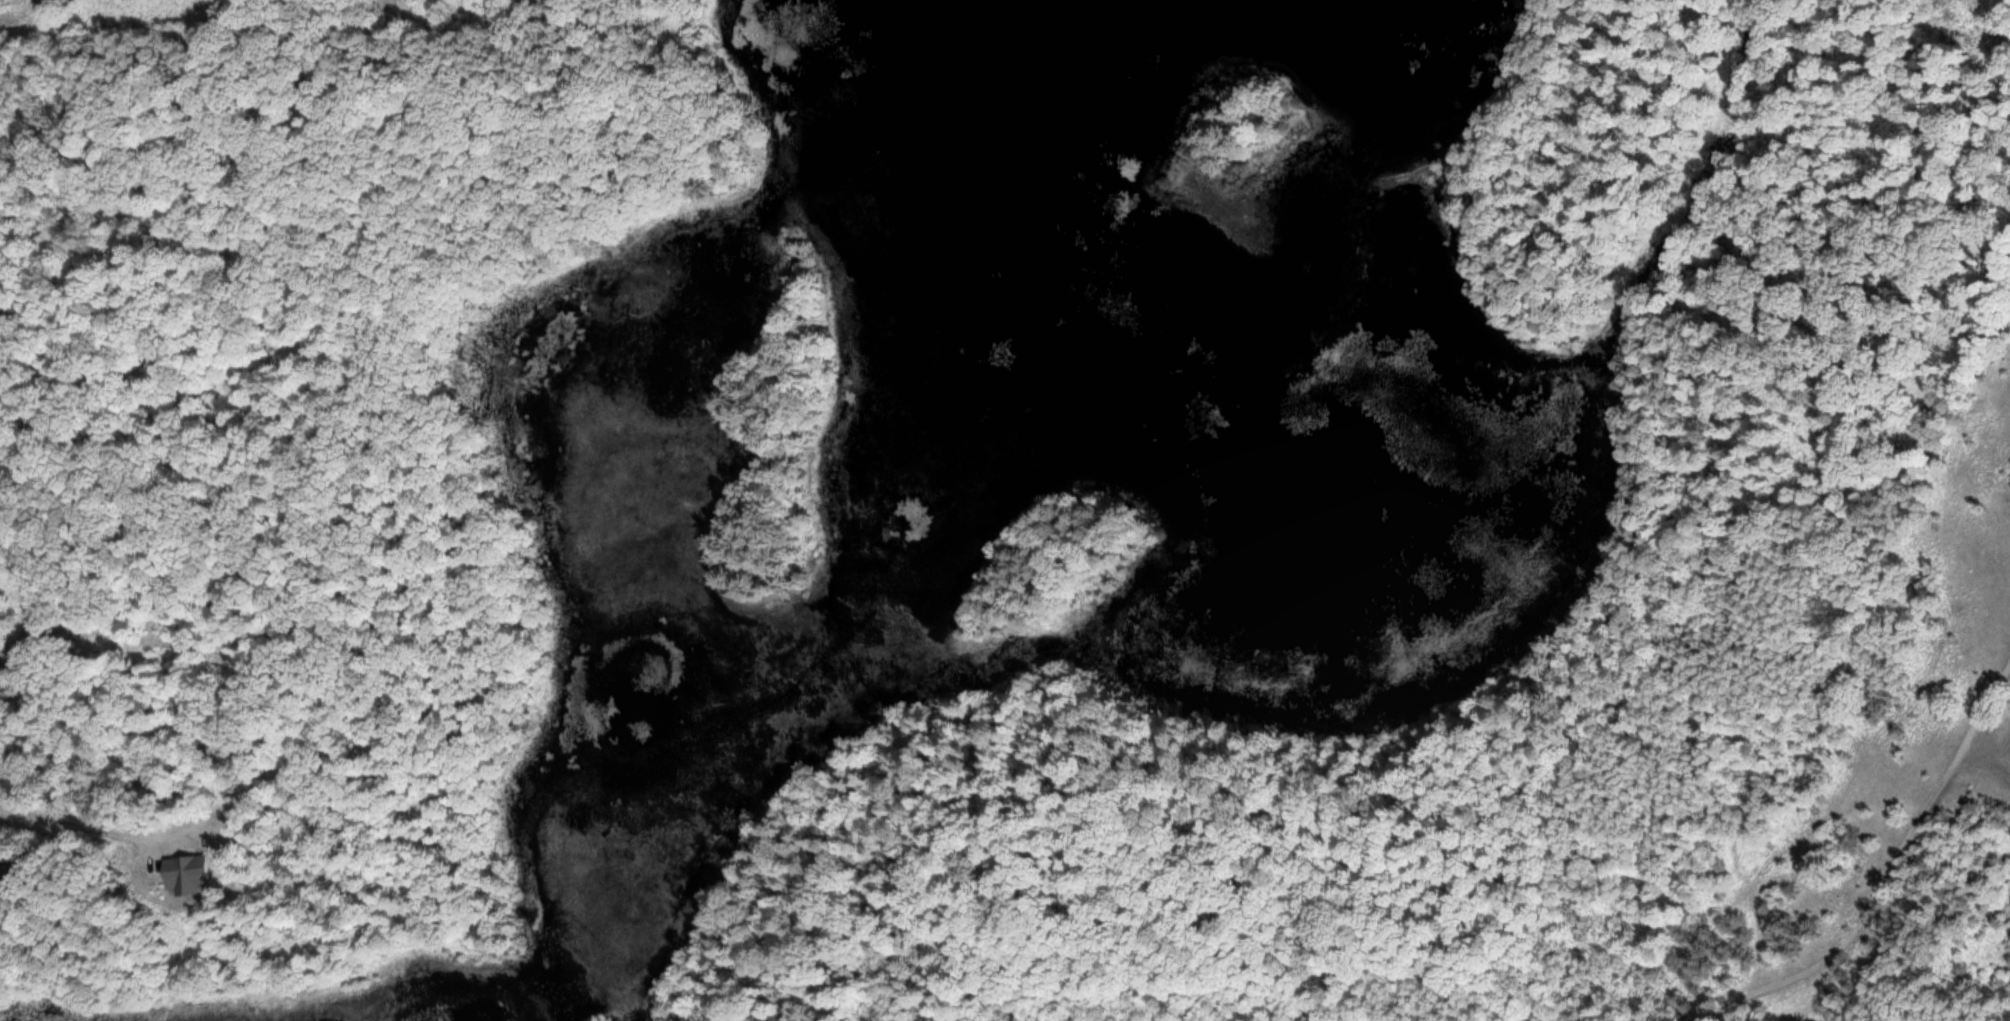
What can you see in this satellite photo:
road: (132, 641)
road: (1984, 763)
road: (84, 836)
building: (18, 879)
road: (1885, 881)
building: (189, 884)

